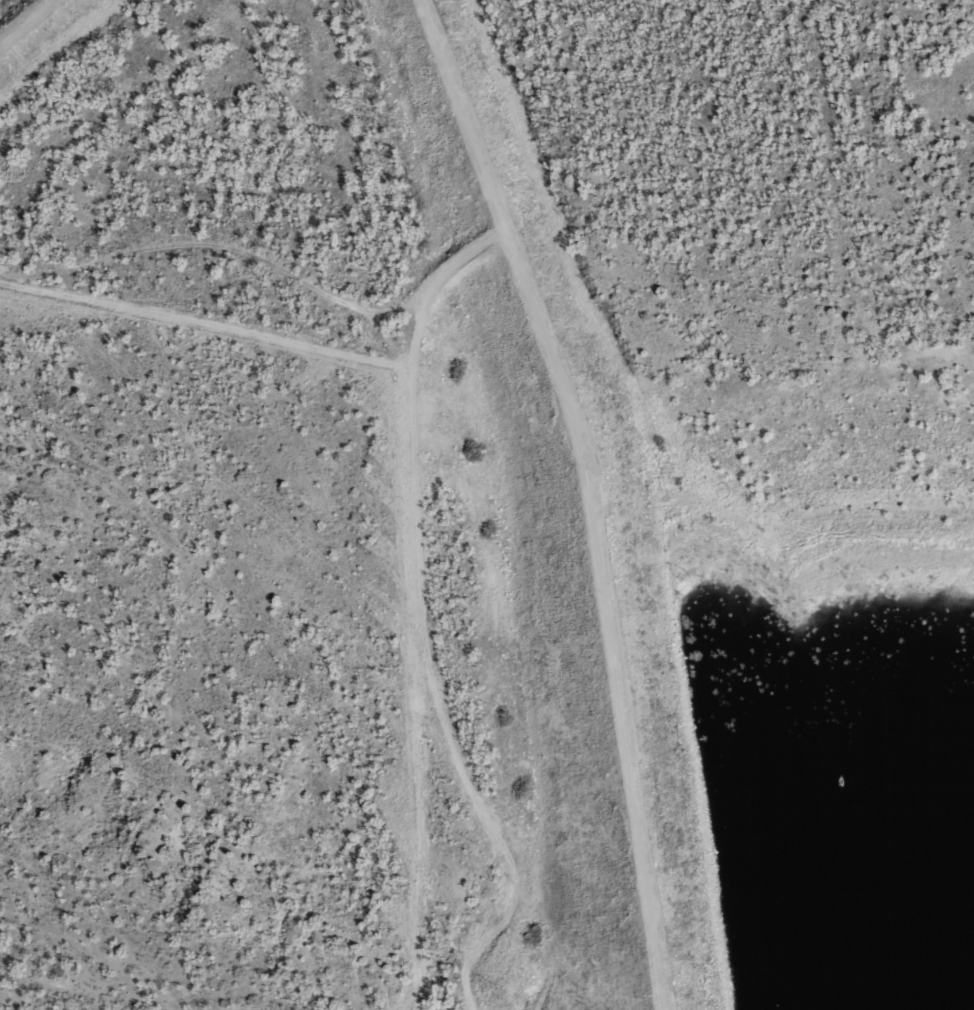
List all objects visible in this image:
road: (464, 117)
road: (429, 252)
road: (383, 445)

